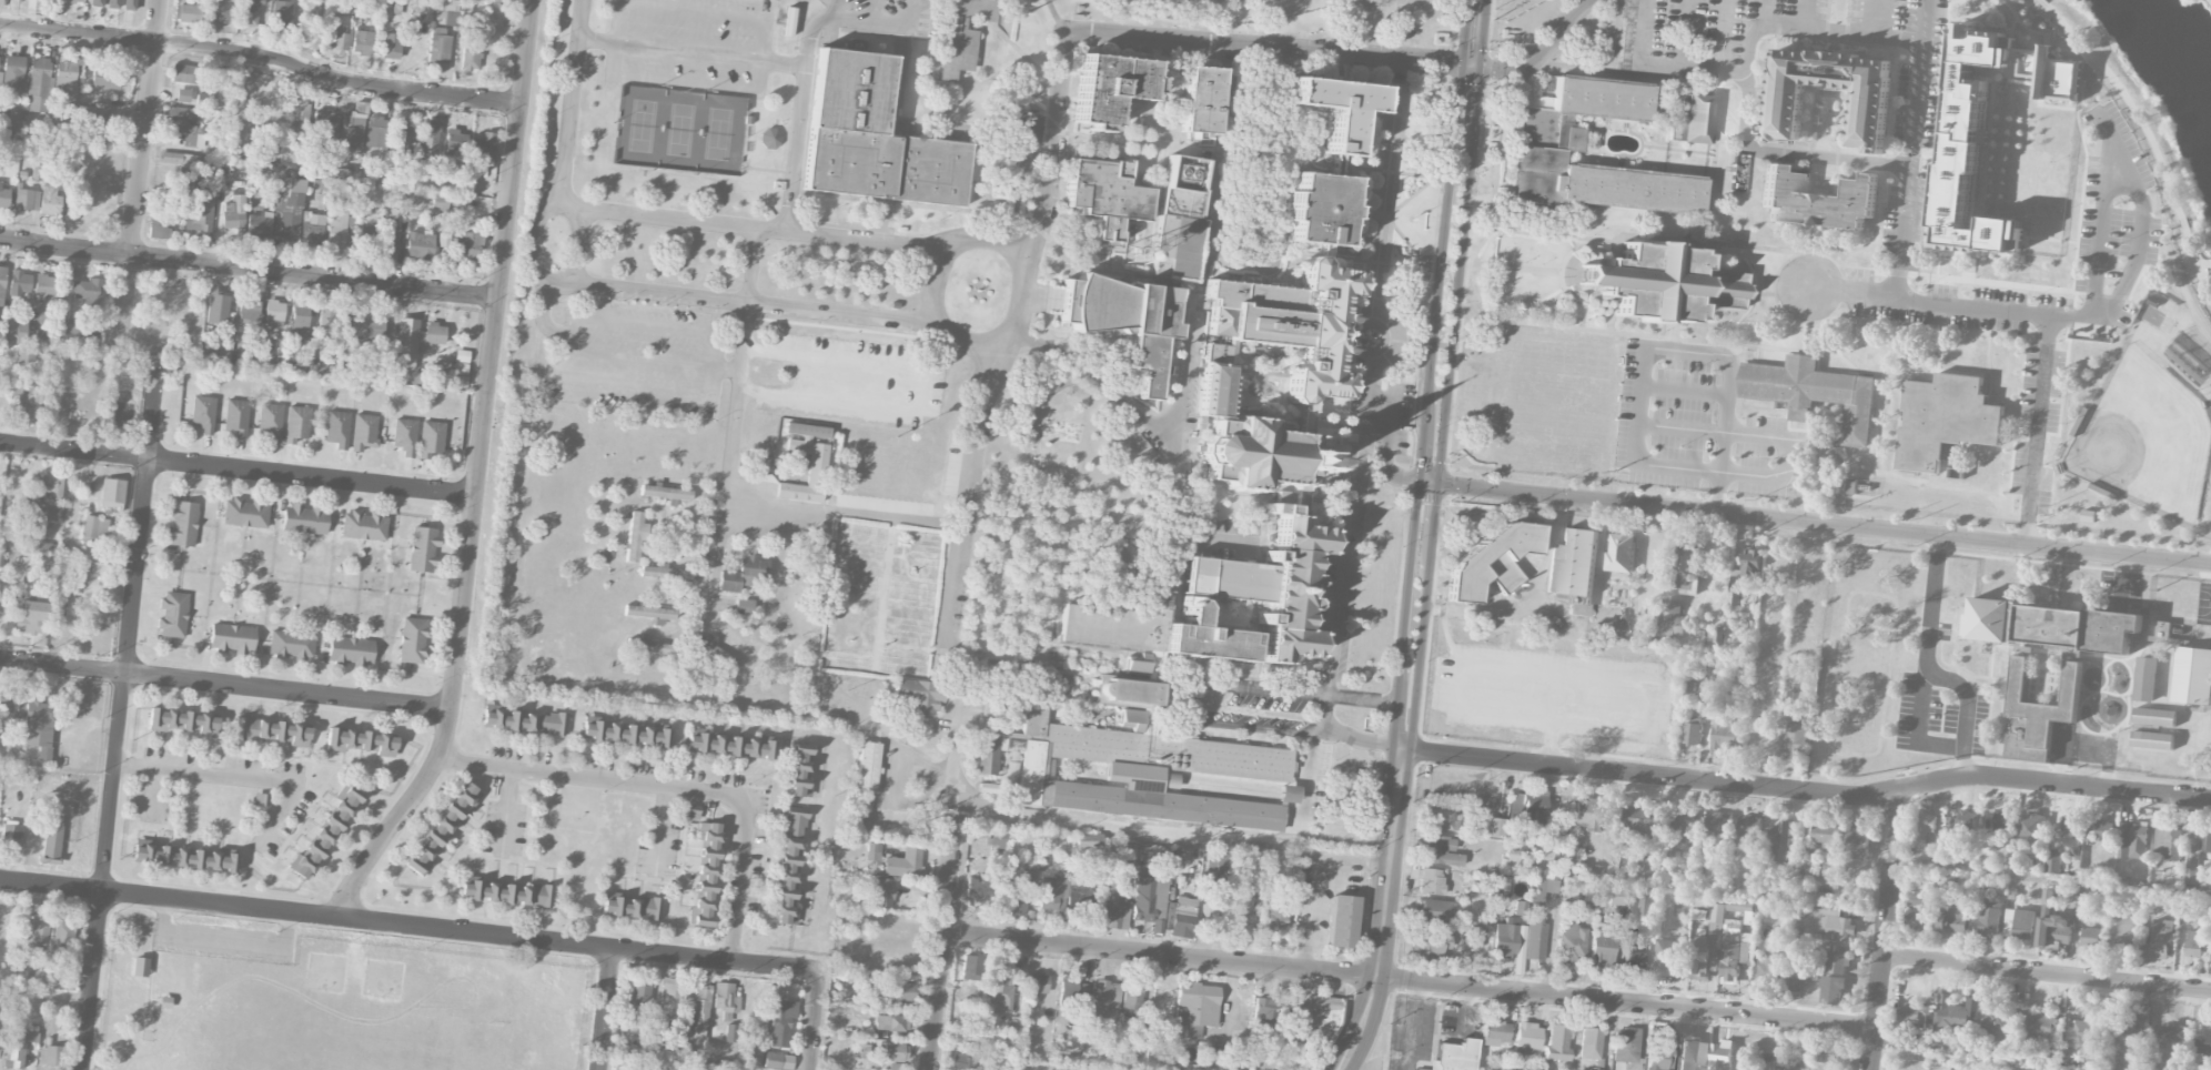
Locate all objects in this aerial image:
building: (75, 0)
building: (97, 2)
building: (113, 3)
building: (130, 4)
road: (834, 9)
building: (220, 10)
road: (719, 10)
building: (282, 11)
building: (445, 11)
road: (872, 11)
building: (249, 12)
road: (1763, 12)
building: (189, 13)
road: (910, 13)
road: (1801, 14)
road: (1057, 17)
road: (1878, 18)
park: (1326, 19)
road: (618, 20)
road: (1557, 31)
road: (1474, 32)
road: (1683, 33)
building: (962, 34)
road: (1723, 36)
building: (340, 37)
road: (596, 38)
road: (1150, 39)
building: (362, 41)
building: (438, 44)
parking lot: (693, 44)
building: (391, 46)
road: (689, 48)
road: (1750, 53)
road: (262, 55)
building: (470, 55)
road: (785, 61)
traffic signals: (1471, 65)
road: (1498, 69)
building: (67, 71)
building: (184, 73)
building: (12, 74)
building: (105, 77)
road: (805, 78)
road: (685, 81)
building: (1109, 81)
building: (39, 84)
building: (183, 94)
building: (1201, 97)
road: (569, 99)
building: (1334, 101)
park: (2154, 101)
road: (1474, 104)
building: (1582, 108)
building: (1869, 111)
building: (299, 113)
building: (180, 114)
building: (1694, 117)
building: (14, 119)
building: (100, 119)
building: (1024, 124)
building: (325, 125)
park: (680, 128)
building: (351, 130)
building: (377, 132)
building: (193, 135)
building: (403, 135)
building: (871, 135)
building: (1966, 135)
building: (770, 137)
road: (2151, 137)
building: (428, 140)
building: (455, 141)
building: (483, 145)
road: (1793, 151)
building: (179, 159)
road: (2123, 164)
building: (1739, 172)
road: (1385, 176)
road: (140, 178)
building: (1184, 183)
building: (1598, 183)
building: (1107, 191)
building: (294, 195)
building: (4, 198)
building: (49, 198)
building: (27, 199)
building: (1819, 199)
building: (440, 201)
building: (1319, 203)
building: (200, 213)
building: (232, 213)
road: (755, 222)
building: (259, 223)
building: (286, 225)
building: (312, 228)
building: (336, 229)
building: (158, 230)
building: (363, 236)
building: (390, 240)
road: (580, 242)
building: (1179, 243)
road: (958, 244)
building: (421, 245)
building: (471, 245)
road: (754, 262)
road: (2203, 264)
road: (249, 269)
building: (1664, 279)
building: (20, 282)
building: (2, 284)
building: (44, 284)
building: (85, 289)
road: (1858, 292)
road: (694, 296)
building: (1120, 303)
road: (1938, 303)
building: (218, 309)
building: (250, 309)
building: (274, 313)
road: (1454, 314)
road: (542, 315)
building: (1290, 317)
building: (300, 320)
building: (325, 323)
road: (645, 323)
building: (364, 325)
building: (72, 326)
building: (9, 327)
building: (415, 340)
road: (1195, 341)
road: (1647, 350)
building: (219, 355)
road: (640, 357)
building: (1149, 360)
building: (461, 361)
building: (300, 363)
road: (727, 369)
building: (417, 377)
building: (1215, 386)
building: (1511, 387)
road: (635, 388)
road: (917, 388)
road: (1685, 390)
building: (1816, 393)
building: (28, 403)
road: (737, 405)
road: (1427, 405)
building: (203, 413)
building: (236, 416)
building: (1944, 418)
building: (271, 421)
building: (296, 423)
building: (337, 428)
building: (364, 432)
building: (404, 435)
road: (1764, 435)
park: (2143, 437)
building: (431, 440)
building: (1254, 451)
road: (1385, 452)
building: (817, 466)
road: (238, 468)
road: (477, 473)
traffic signals: (1420, 481)
road: (1428, 482)
traffic signals: (1437, 483)
building: (49, 484)
road: (1716, 491)
building: (112, 492)
building: (666, 492)
building: (44, 512)
building: (245, 513)
road: (856, 513)
road: (664, 514)
building: (305, 518)
building: (183, 523)
road: (1824, 523)
building: (364, 525)
road: (1433, 527)
building: (94, 528)
building: (635, 534)
road: (648, 545)
road: (720, 546)
building: (423, 548)
building: (1127, 553)
building: (1621, 553)
road: (900, 554)
parking lot: (709, 556)
building: (1493, 558)
road: (906, 561)
building: (1573, 562)
building: (44, 563)
building: (1685, 565)
road: (917, 566)
road: (1345, 568)
building: (666, 572)
building: (743, 572)
building: (1745, 574)
building: (1269, 584)
road: (882, 594)
park: (880, 598)
road: (725, 603)
building: (744, 605)
building: (649, 610)
building: (173, 614)
road: (682, 614)
building: (32, 617)
building: (1670, 618)
road: (686, 625)
building: (2051, 626)
building: (1155, 627)
building: (2162, 630)
building: (232, 637)
building: (413, 639)
road: (888, 640)
building: (291, 644)
building: (652, 645)
road: (887, 647)
road: (926, 649)
building: (351, 650)
building: (715, 650)
road: (1420, 659)
road: (1016, 667)
road: (1556, 673)
road: (1920, 673)
building: (2192, 676)
building: (2144, 679)
road: (225, 685)
building: (1128, 693)
road: (1963, 694)
building: (918, 695)
building: (9, 698)
road: (1324, 714)
building: (2036, 714)
building: (2154, 717)
road: (120, 719)
building: (526, 720)
building: (182, 721)
road: (1281, 725)
building: (39, 726)
building: (1693, 727)
building: (273, 730)
building: (625, 733)
building: (1725, 735)
building: (1796, 736)
road: (1549, 738)
building: (361, 740)
building: (2151, 740)
building: (731, 746)
road: (1402, 747)
building: (1169, 751)
building: (868, 766)
road: (1396, 766)
road: (1404, 767)
building: (800, 773)
road: (235, 774)
building: (1034, 774)
road: (1308, 775)
road: (676, 787)
building: (991, 788)
road: (151, 790)
road: (1810, 790)
building: (1288, 794)
building: (260, 798)
building: (1165, 805)
road: (957, 806)
building: (1532, 806)
road: (506, 811)
building: (691, 814)
building: (1588, 814)
road: (1068, 817)
building: (1438, 819)
building: (2001, 819)
building: (1967, 820)
building: (1718, 821)
building: (1640, 824)
building: (1951, 824)
building: (1495, 826)
building: (1682, 826)
building: (2070, 826)
building: (1749, 827)
building: (442, 828)
building: (1927, 828)
building: (2030, 828)
building: (54, 829)
road: (660, 829)
building: (2104, 830)
building: (325, 832)
building: (11, 834)
building: (2090, 834)
building: (998, 837)
building: (1828, 837)
building: (1779, 838)
building: (1089, 840)
building: (2132, 840)
building: (2168, 842)
building: (1857, 844)
building: (2195, 848)
building: (708, 850)
building: (874, 850)
building: (1441, 850)
building: (1515, 851)
building: (182, 856)
building: (2053, 861)
building: (903, 862)
building: (788, 867)
building: (1687, 867)
building: (1648, 870)
building: (1807, 872)
building: (1216, 875)
road: (1314, 877)
road: (2053, 877)
building: (1948, 880)
building: (1125, 881)
building: (1431, 881)
building: (979, 887)
building: (1542, 888)
building: (882, 891)
building: (508, 892)
building: (1050, 892)
building: (1081, 892)
building: (1617, 896)
building: (2046, 898)
building: (1916, 899)
building: (1149, 900)
building: (1016, 904)
building: (1740, 906)
building: (633, 907)
building: (701, 907)
building: (1240, 907)
building: (1521, 907)
building: (1647, 907)
building: (1112, 908)
building: (2080, 908)
building: (1434, 911)
building: (1275, 916)
building: (1182, 917)
building: (1916, 919)
building: (1342, 920)
building: (1952, 920)
building: (1990, 920)
building: (1830, 921)
building: (2019, 923)
road: (407, 925)
building: (39, 928)
road: (1887, 929)
building: (63, 930)
road: (1384, 931)
building: (2053, 931)
building: (2123, 935)
road: (222, 937)
building: (2091, 937)
building: (1505, 938)
building: (1535, 939)
road: (941, 940)
building: (1571, 941)
building: (1473, 942)
building: (2160, 943)
building: (2194, 943)
building: (1430, 946)
building: (1603, 947)
building: (1735, 950)
building: (1706, 952)
building: (1632, 958)
building: (1667, 958)
building: (1836, 962)
building: (1770, 965)
building: (140, 966)
building: (971, 967)
road: (2047, 973)
building: (36, 976)
road: (1409, 980)
building: (1036, 982)
building: (1796, 985)
building: (1831, 989)
building: (640, 990)
building: (899, 991)
building: (1001, 992)
building: (1072, 992)
building: (669, 998)
building: (726, 998)
building: (1103, 998)
building: (1131, 998)
park: (326, 999)
building: (697, 1007)
building: (1195, 1007)
road: (605, 1009)
building: (1263, 1009)
building: (839, 1012)
building: (1956, 1012)
building: (1915, 1013)
building: (780, 1019)
building: (1321, 1019)
road: (811, 1020)
building: (1998, 1020)
building: (890, 1022)
building: (2039, 1027)
building: (730, 1032)
building: (1496, 1032)
building: (2083, 1032)
building: (2130, 1033)
building: (1528, 1037)
building: (2169, 1038)
building: (1558, 1042)
building: (965, 1043)
building: (1589, 1043)
building: (1625, 1044)
building: (2202, 1044)
building: (1, 1048)
building: (864, 1050)
building: (895, 1051)
building: (1693, 1051)
building: (1827, 1053)
building: (50, 1054)
building: (2051, 1054)
building: (1455, 1056)
building: (1720, 1056)
building: (14, 1058)
building: (1659, 1058)
road: (1973, 1059)
building: (771, 1060)
building: (962, 1061)
road: (1356, 1062)
building: (2111, 1064)
building: (1591, 1069)

